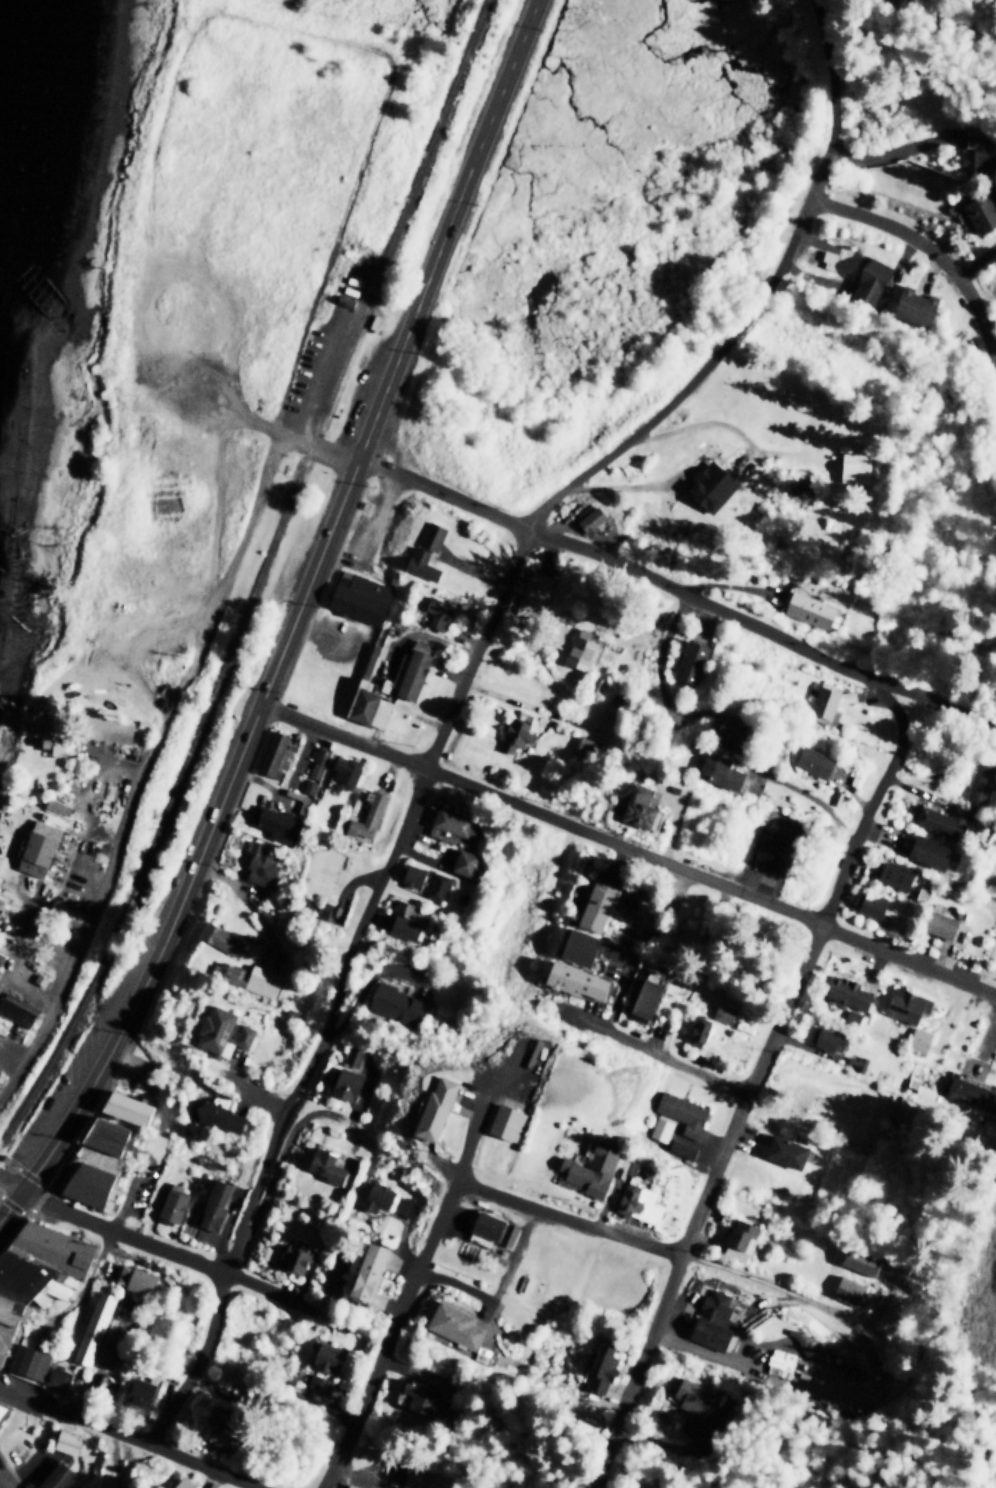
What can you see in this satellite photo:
road: (969, 16)
road: (366, 150)
building: (971, 154)
road: (471, 160)
building: (981, 210)
road: (931, 248)
building: (870, 281)
road: (758, 303)
building: (915, 305)
building: (853, 466)
building: (711, 484)
road: (443, 494)
road: (338, 513)
building: (590, 519)
building: (426, 550)
railway: (262, 580)
building: (535, 586)
building: (359, 595)
building: (809, 609)
building: (438, 611)
road: (760, 628)
building: (580, 647)
road: (90, 658)
building: (689, 660)
building: (410, 672)
road: (661, 681)
building: (848, 695)
building: (824, 698)
building: (368, 707)
building: (110, 729)
building: (516, 730)
building: (53, 733)
road: (160, 735)
building: (581, 746)
building: (276, 753)
building: (815, 760)
building: (346, 768)
building: (314, 769)
building: (721, 770)
building: (979, 781)
building: (57, 804)
building: (642, 806)
building: (366, 814)
building: (938, 821)
building: (276, 823)
building: (449, 823)
building: (773, 846)
building: (39, 847)
road: (630, 847)
building: (995, 849)
building: (929, 851)
building: (463, 861)
building: (259, 864)
building: (895, 874)
building: (412, 875)
building: (436, 885)
building: (630, 897)
building: (872, 904)
building: (597, 905)
building: (405, 919)
building: (941, 923)
building: (219, 936)
building: (581, 946)
building: (1, 954)
road: (150, 973)
building: (576, 979)
road: (341, 988)
building: (847, 990)
road: (366, 991)
building: (395, 1002)
building: (906, 1004)
building: (17, 1008)
building: (851, 1016)
building: (221, 1030)
building: (699, 1032)
building: (829, 1038)
building: (920, 1038)
road: (655, 1053)
building: (350, 1055)
road: (756, 1077)
building: (346, 1083)
building: (967, 1091)
road: (261, 1098)
parking lot: (57, 1100)
building: (436, 1106)
building: (127, 1107)
building: (683, 1111)
building: (219, 1116)
road: (337, 1118)
building: (505, 1120)
building: (660, 1127)
building: (681, 1147)
building: (786, 1150)
building: (325, 1164)
building: (87, 1167)
building: (592, 1167)
road: (272, 1176)
road: (11, 1185)
building: (637, 1194)
building: (377, 1195)
building: (172, 1202)
building: (214, 1203)
building: (406, 1206)
parking lot: (128, 1207)
building: (494, 1228)
building: (741, 1238)
road: (656, 1247)
road: (167, 1249)
building: (293, 1256)
building: (37, 1269)
building: (368, 1271)
building: (134, 1278)
building: (848, 1289)
road: (410, 1295)
building: (713, 1320)
building: (453, 1323)
building: (92, 1326)
building: (779, 1362)
building: (37, 1365)
building: (321, 1366)
building: (602, 1368)
building: (418, 1394)
building: (691, 1395)
building: (137, 1396)
building: (1, 1406)
building: (221, 1428)
road: (128, 1435)
building: (66, 1440)
road: (651, 1448)
building: (57, 1476)
building: (181, 1484)
road: (1, 1485)
building: (351, 1486)

